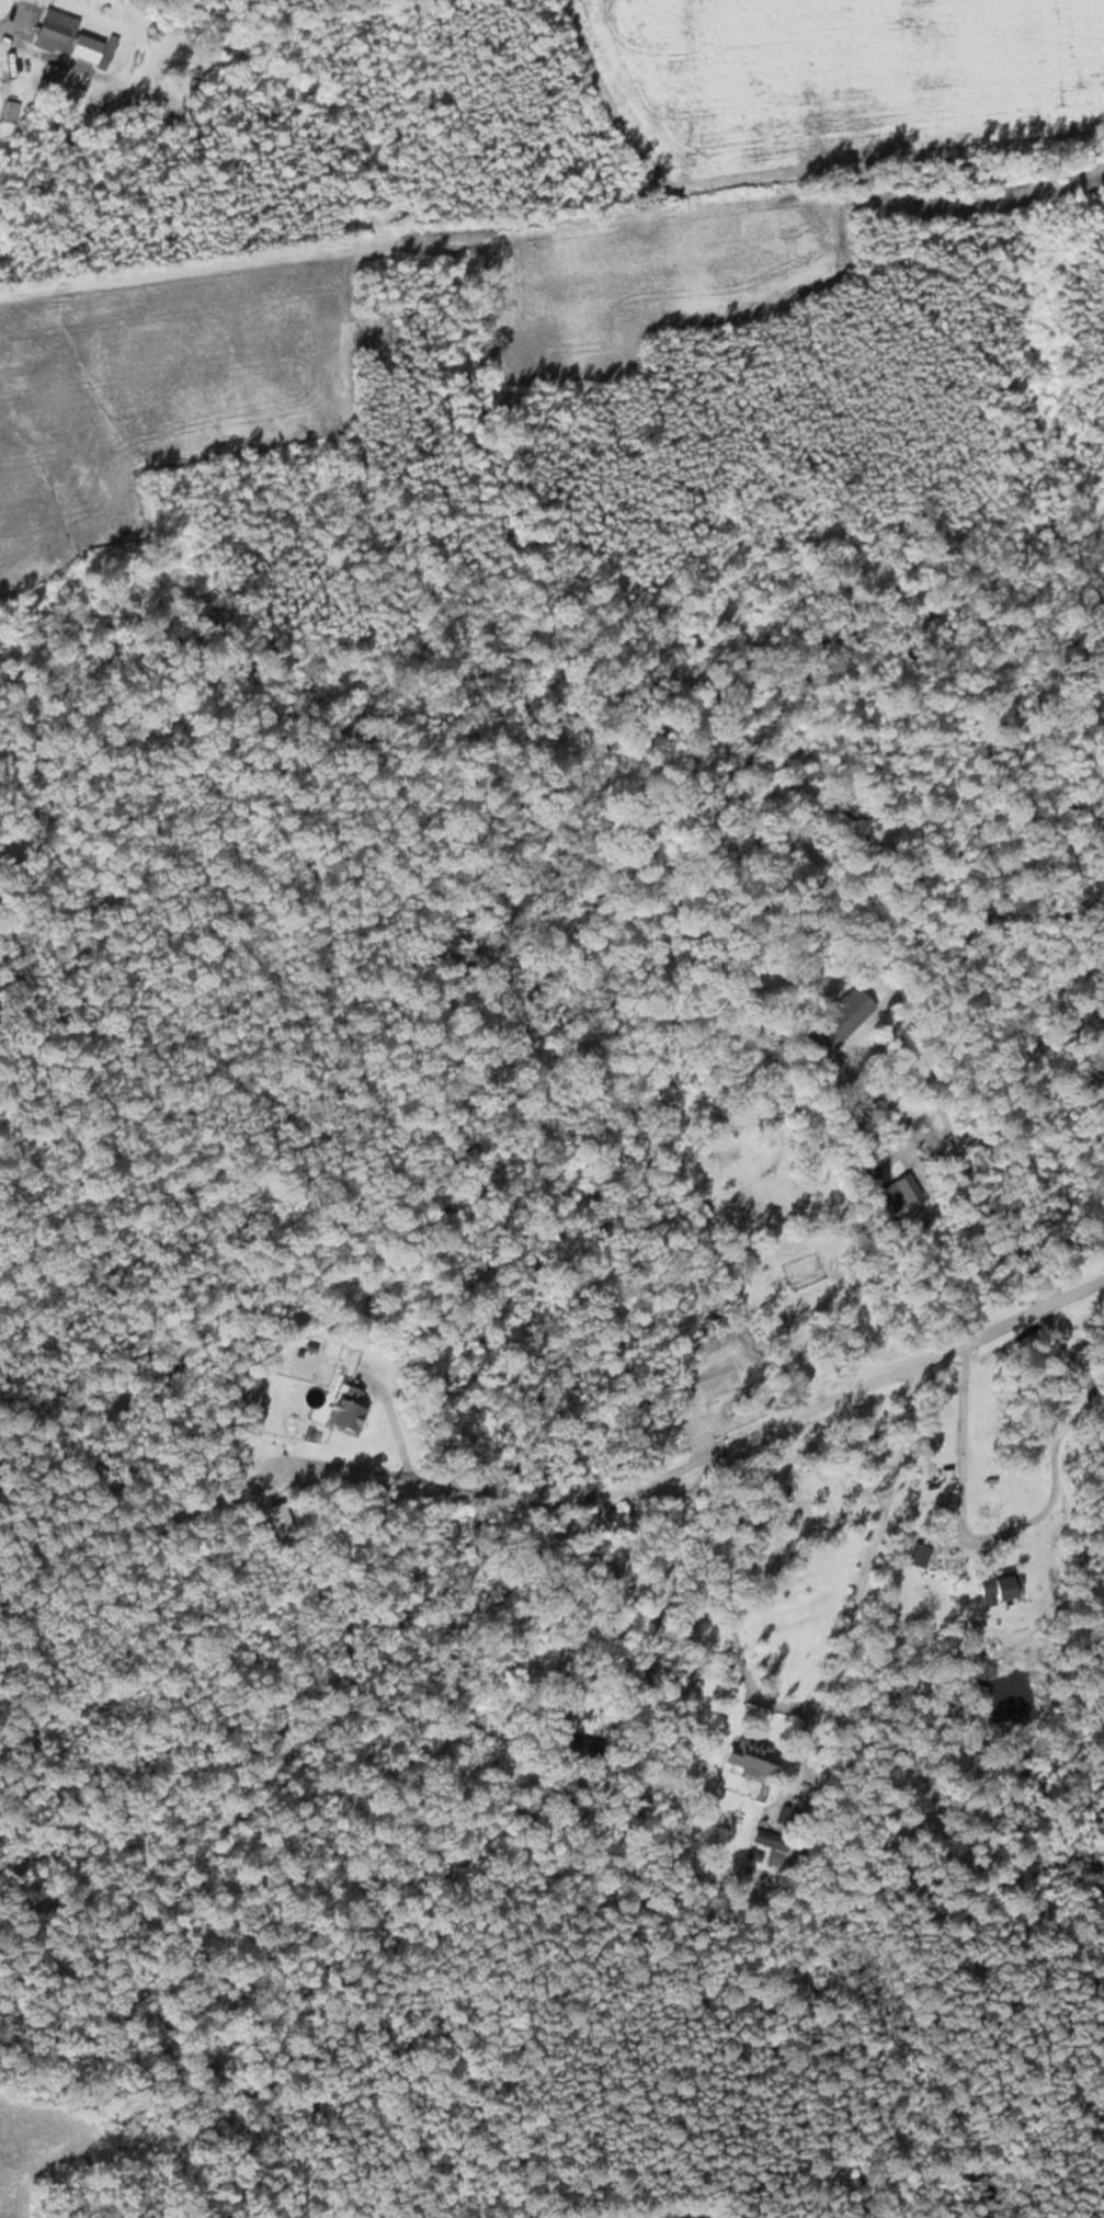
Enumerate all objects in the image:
building: (56, 31)
building: (53, 80)
building: (11, 110)
building: (839, 1021)
building: (724, 1158)
building: (908, 1187)
building: (751, 1290)
building: (345, 1409)
road: (712, 1454)
road: (271, 1466)
building: (919, 1556)
building: (1000, 1586)
building: (751, 1756)
building: (771, 1841)
road: (684, 2216)

